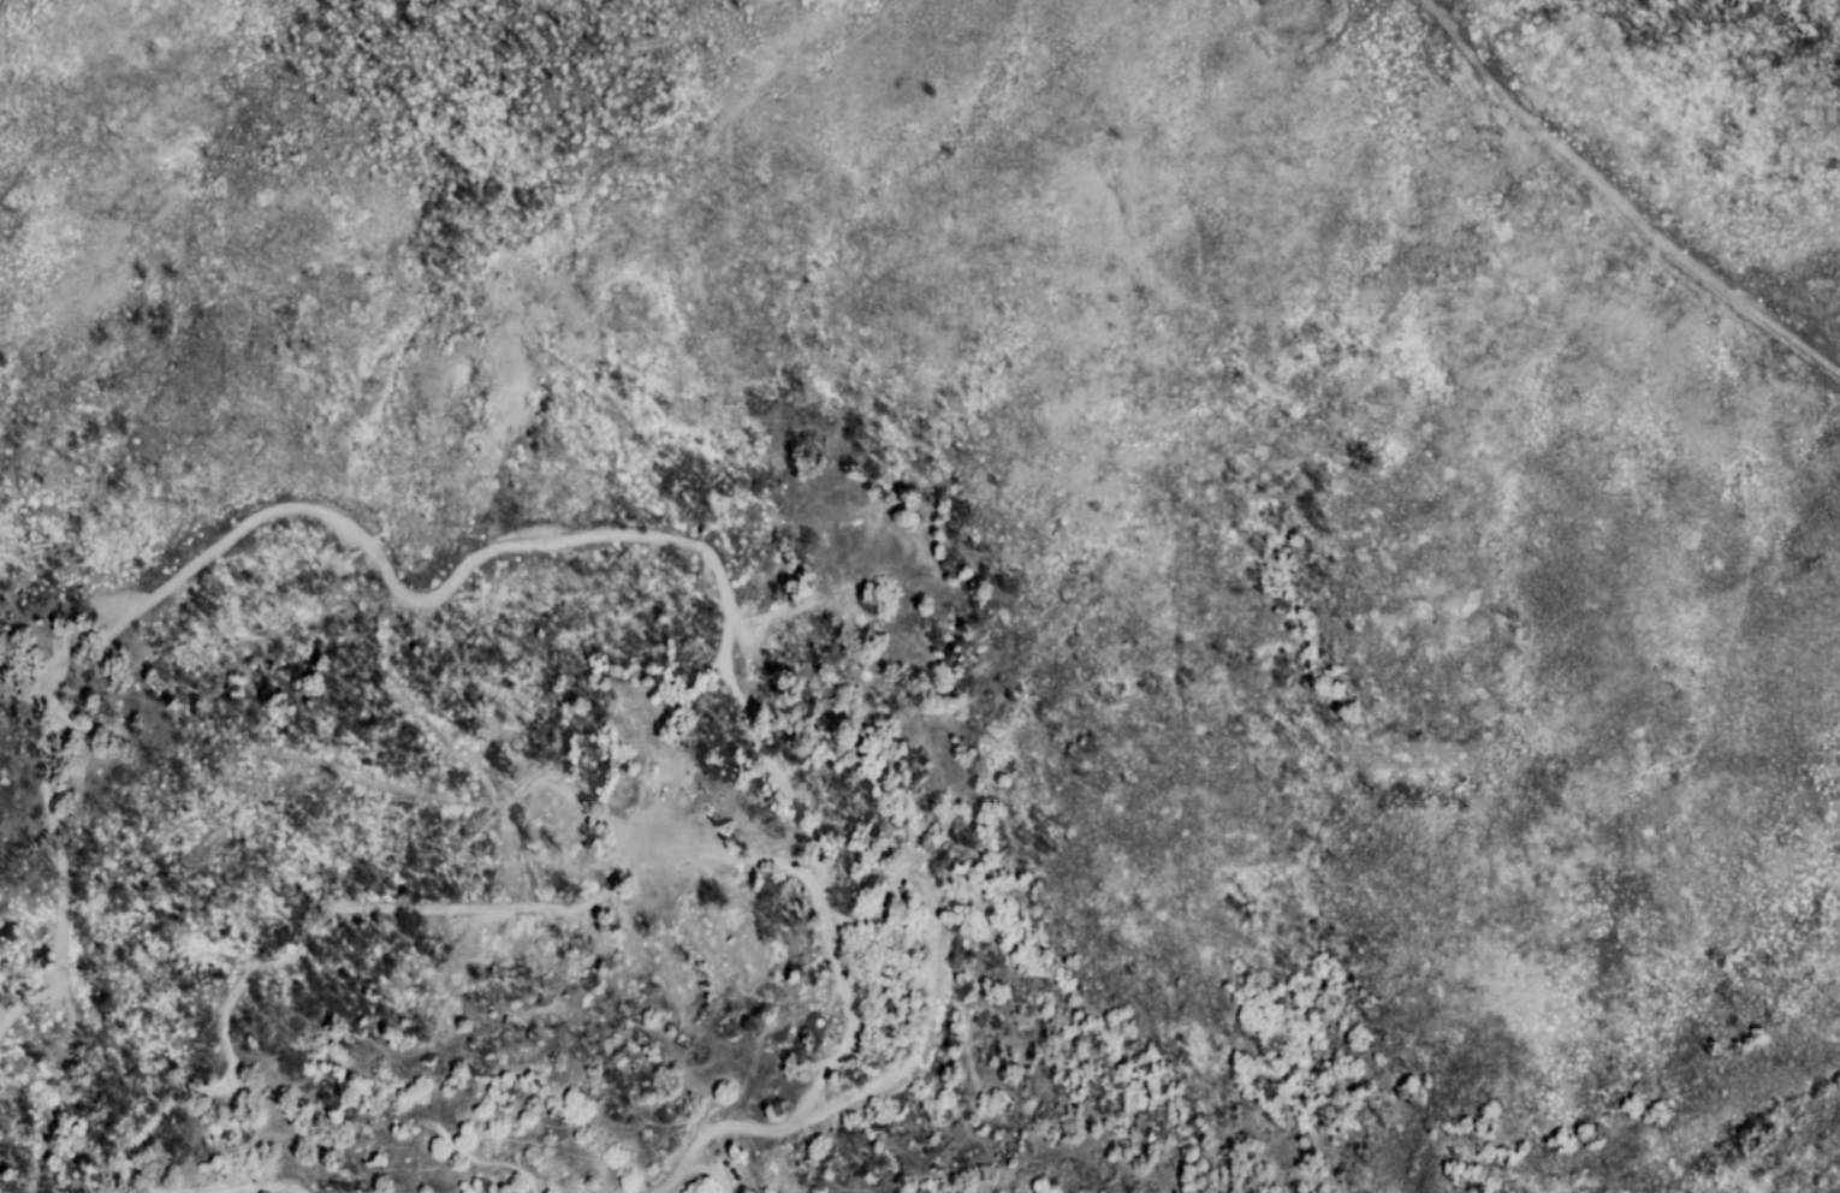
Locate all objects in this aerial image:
road: (1618, 198)
road: (671, 495)

